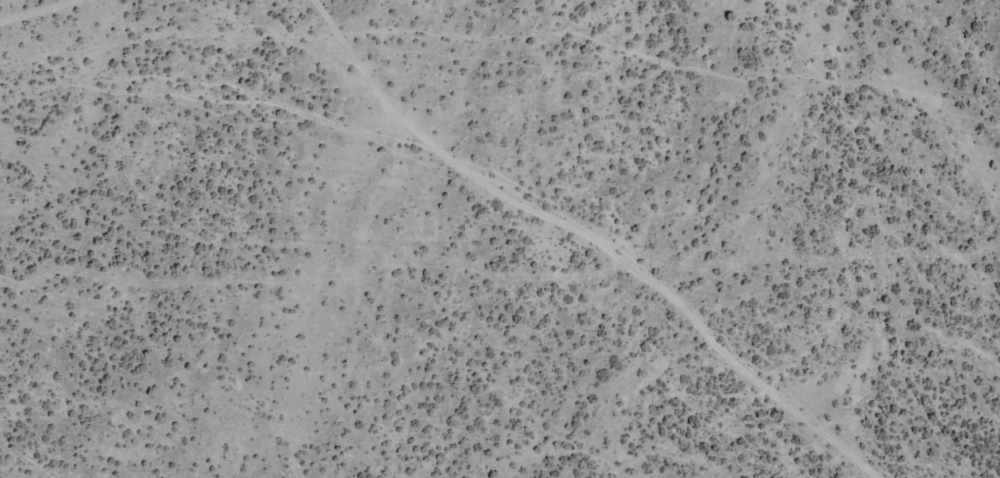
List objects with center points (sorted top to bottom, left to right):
road: (583, 274)

